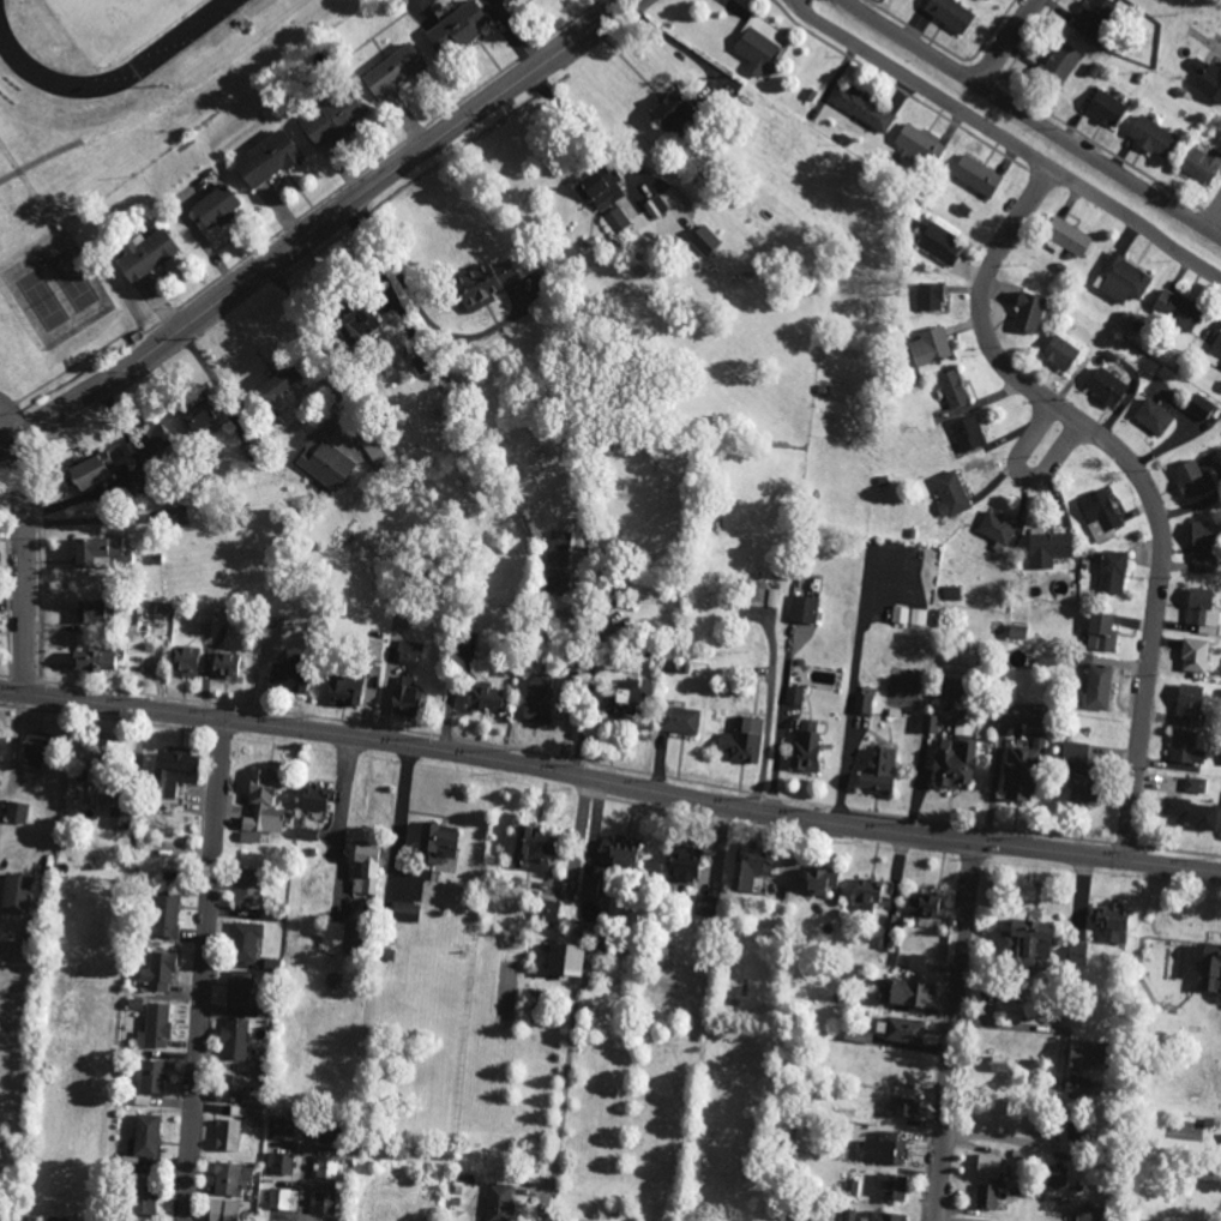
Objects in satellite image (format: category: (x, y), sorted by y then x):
building: (504, 1)
building: (950, 13)
building: (1089, 17)
park: (107, 23)
building: (456, 28)
road: (1008, 40)
building: (757, 43)
track: (162, 47)
building: (1059, 62)
building: (391, 71)
building: (1207, 78)
building: (861, 107)
building: (1105, 107)
building: (668, 109)
building: (330, 116)
road: (1035, 118)
building: (1150, 136)
road: (1011, 137)
building: (919, 143)
building: (265, 158)
building: (1201, 164)
building: (975, 175)
building: (600, 187)
building: (215, 206)
building: (655, 206)
building: (616, 218)
road: (1215, 221)
road: (314, 225)
building: (1066, 235)
building: (704, 239)
building: (939, 241)
building: (144, 253)
building: (1121, 278)
park: (72, 279)
building: (480, 284)
building: (928, 296)
park: (42, 300)
road: (416, 306)
building: (1175, 308)
building: (1027, 312)
building: (354, 320)
building: (930, 345)
building: (1215, 350)
building: (1059, 351)
building: (275, 381)
building: (1106, 386)
building: (952, 387)
building: (1199, 405)
building: (1153, 416)
building: (194, 417)
road: (8, 421)
building: (968, 433)
building: (145, 438)
building: (323, 461)
road: (1137, 471)
building: (83, 473)
road: (1024, 473)
building: (1189, 477)
building: (949, 493)
building: (1100, 510)
building: (175, 516)
building: (997, 527)
building: (558, 547)
building: (1202, 547)
building: (1048, 548)
building: (96, 552)
road: (30, 560)
building: (1112, 571)
building: (952, 593)
building: (762, 594)
building: (804, 609)
building: (88, 610)
building: (1202, 612)
building: (909, 615)
building: (1016, 631)
building: (1100, 632)
building: (467, 644)
building: (407, 652)
building: (1195, 655)
building: (185, 660)
building: (91, 661)
building: (224, 664)
building: (285, 679)
building: (1097, 686)
building: (949, 687)
building: (342, 688)
building: (402, 696)
building: (486, 696)
building: (537, 696)
building: (619, 697)
building: (1187, 700)
building: (862, 703)
building: (679, 720)
building: (930, 723)
building: (741, 740)
building: (805, 747)
building: (1185, 747)
building: (31, 748)
building: (91, 750)
building: (1073, 752)
building: (952, 763)
building: (1019, 770)
building: (173, 771)
building: (877, 771)
road: (609, 777)
building: (1195, 784)
building: (1079, 788)
building: (313, 798)
building: (261, 804)
road: (402, 810)
building: (17, 812)
road: (342, 812)
building: (1191, 812)
building: (118, 818)
building: (434, 843)
building: (529, 849)
building: (618, 853)
building: (682, 862)
building: (746, 867)
building: (366, 870)
building: (818, 879)
building: (588, 885)
building: (247, 888)
building: (870, 892)
building: (14, 894)
building: (705, 904)
building: (922, 904)
building: (546, 910)
building: (405, 912)
building: (163, 914)
building: (1111, 922)
building: (333, 938)
building: (243, 940)
building: (1023, 942)
building: (1077, 951)
building: (563, 960)
building: (916, 962)
road: (205, 968)
building: (1209, 968)
building: (157, 973)
building: (239, 990)
building: (906, 993)
building: (154, 1027)
road: (958, 1029)
building: (901, 1030)
building: (234, 1039)
building: (1083, 1054)
building: (999, 1064)
building: (152, 1076)
road: (566, 1082)
building: (228, 1088)
building: (902, 1106)
building: (254, 1114)
building: (283, 1130)
building: (227, 1135)
building: (143, 1137)
building: (884, 1149)
building: (279, 1162)
building: (987, 1166)
building: (329, 1168)
road: (311, 1169)
building: (1057, 1175)
building: (230, 1178)
building: (891, 1187)
building: (142, 1196)
building: (986, 1196)
building: (279, 1198)
road: (555, 1199)
building: (499, 1202)
building: (323, 1203)
building: (221, 1210)
building: (849, 1215)
building: (883, 1216)
building: (12, 1217)
building: (55, 1219)

